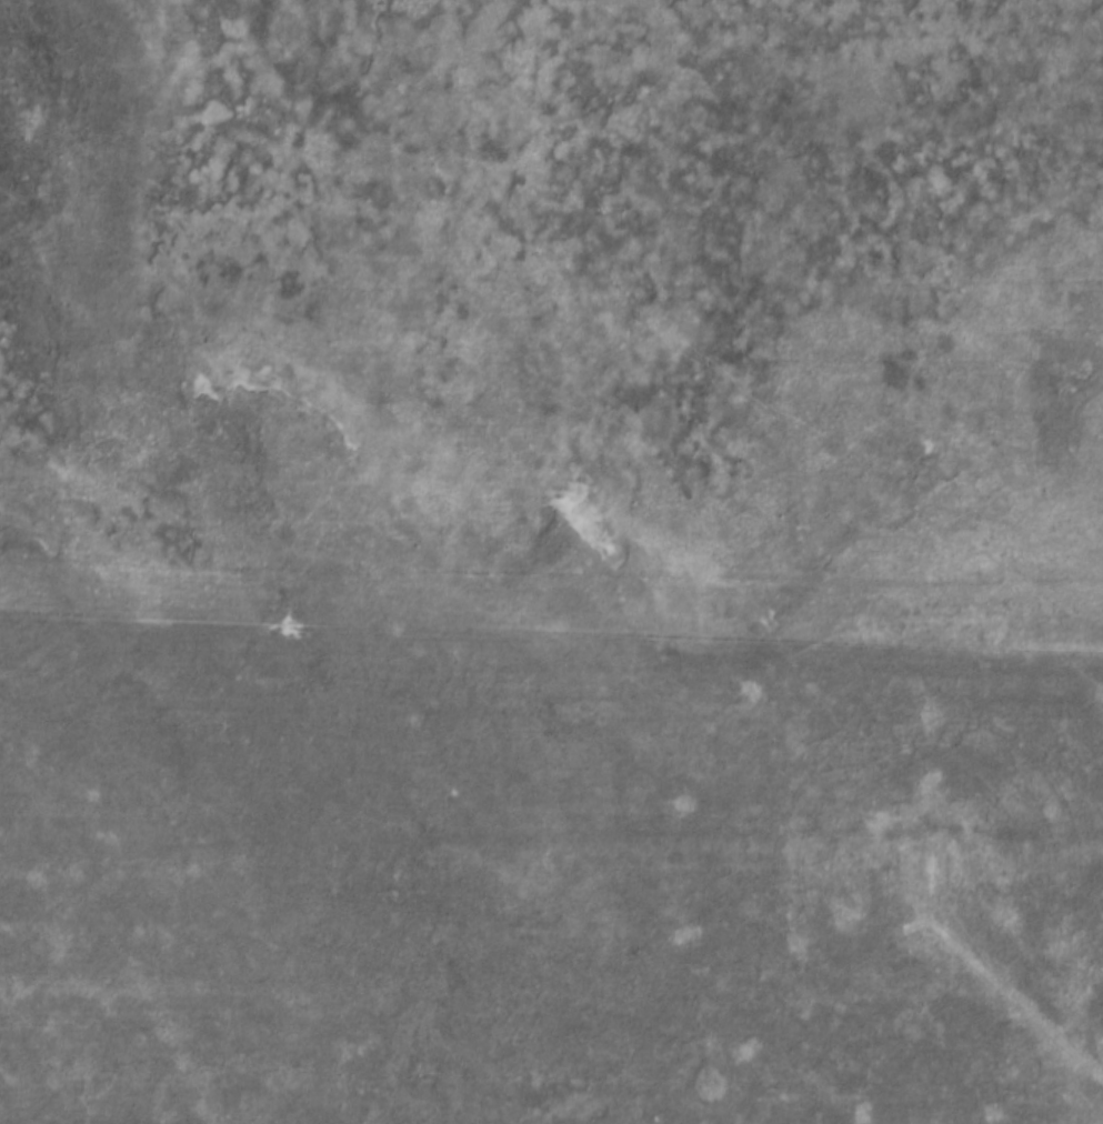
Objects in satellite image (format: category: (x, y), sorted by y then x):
building: (923, 884)
road: (1015, 1003)

